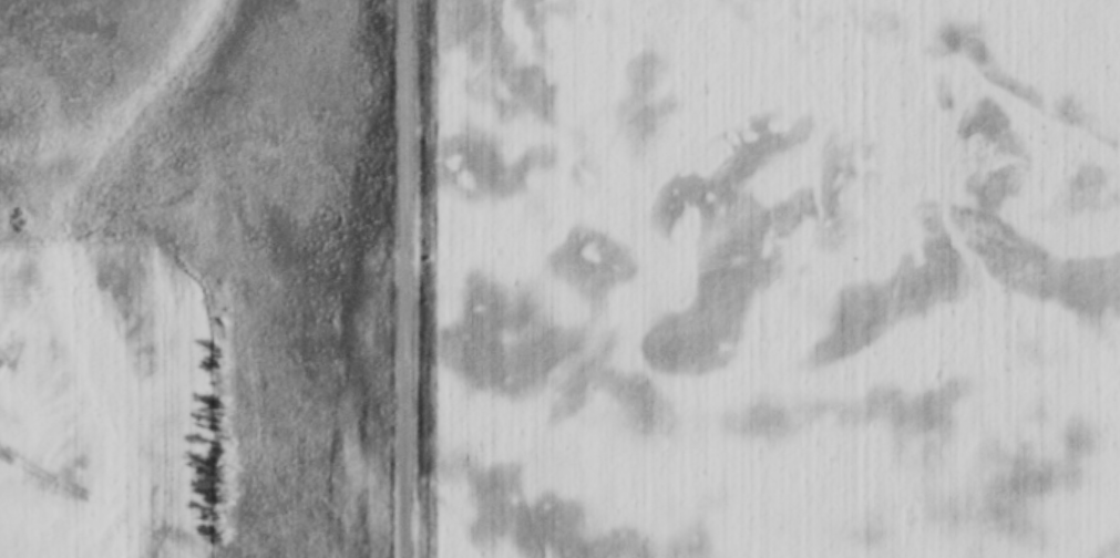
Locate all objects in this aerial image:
road: (404, 278)

